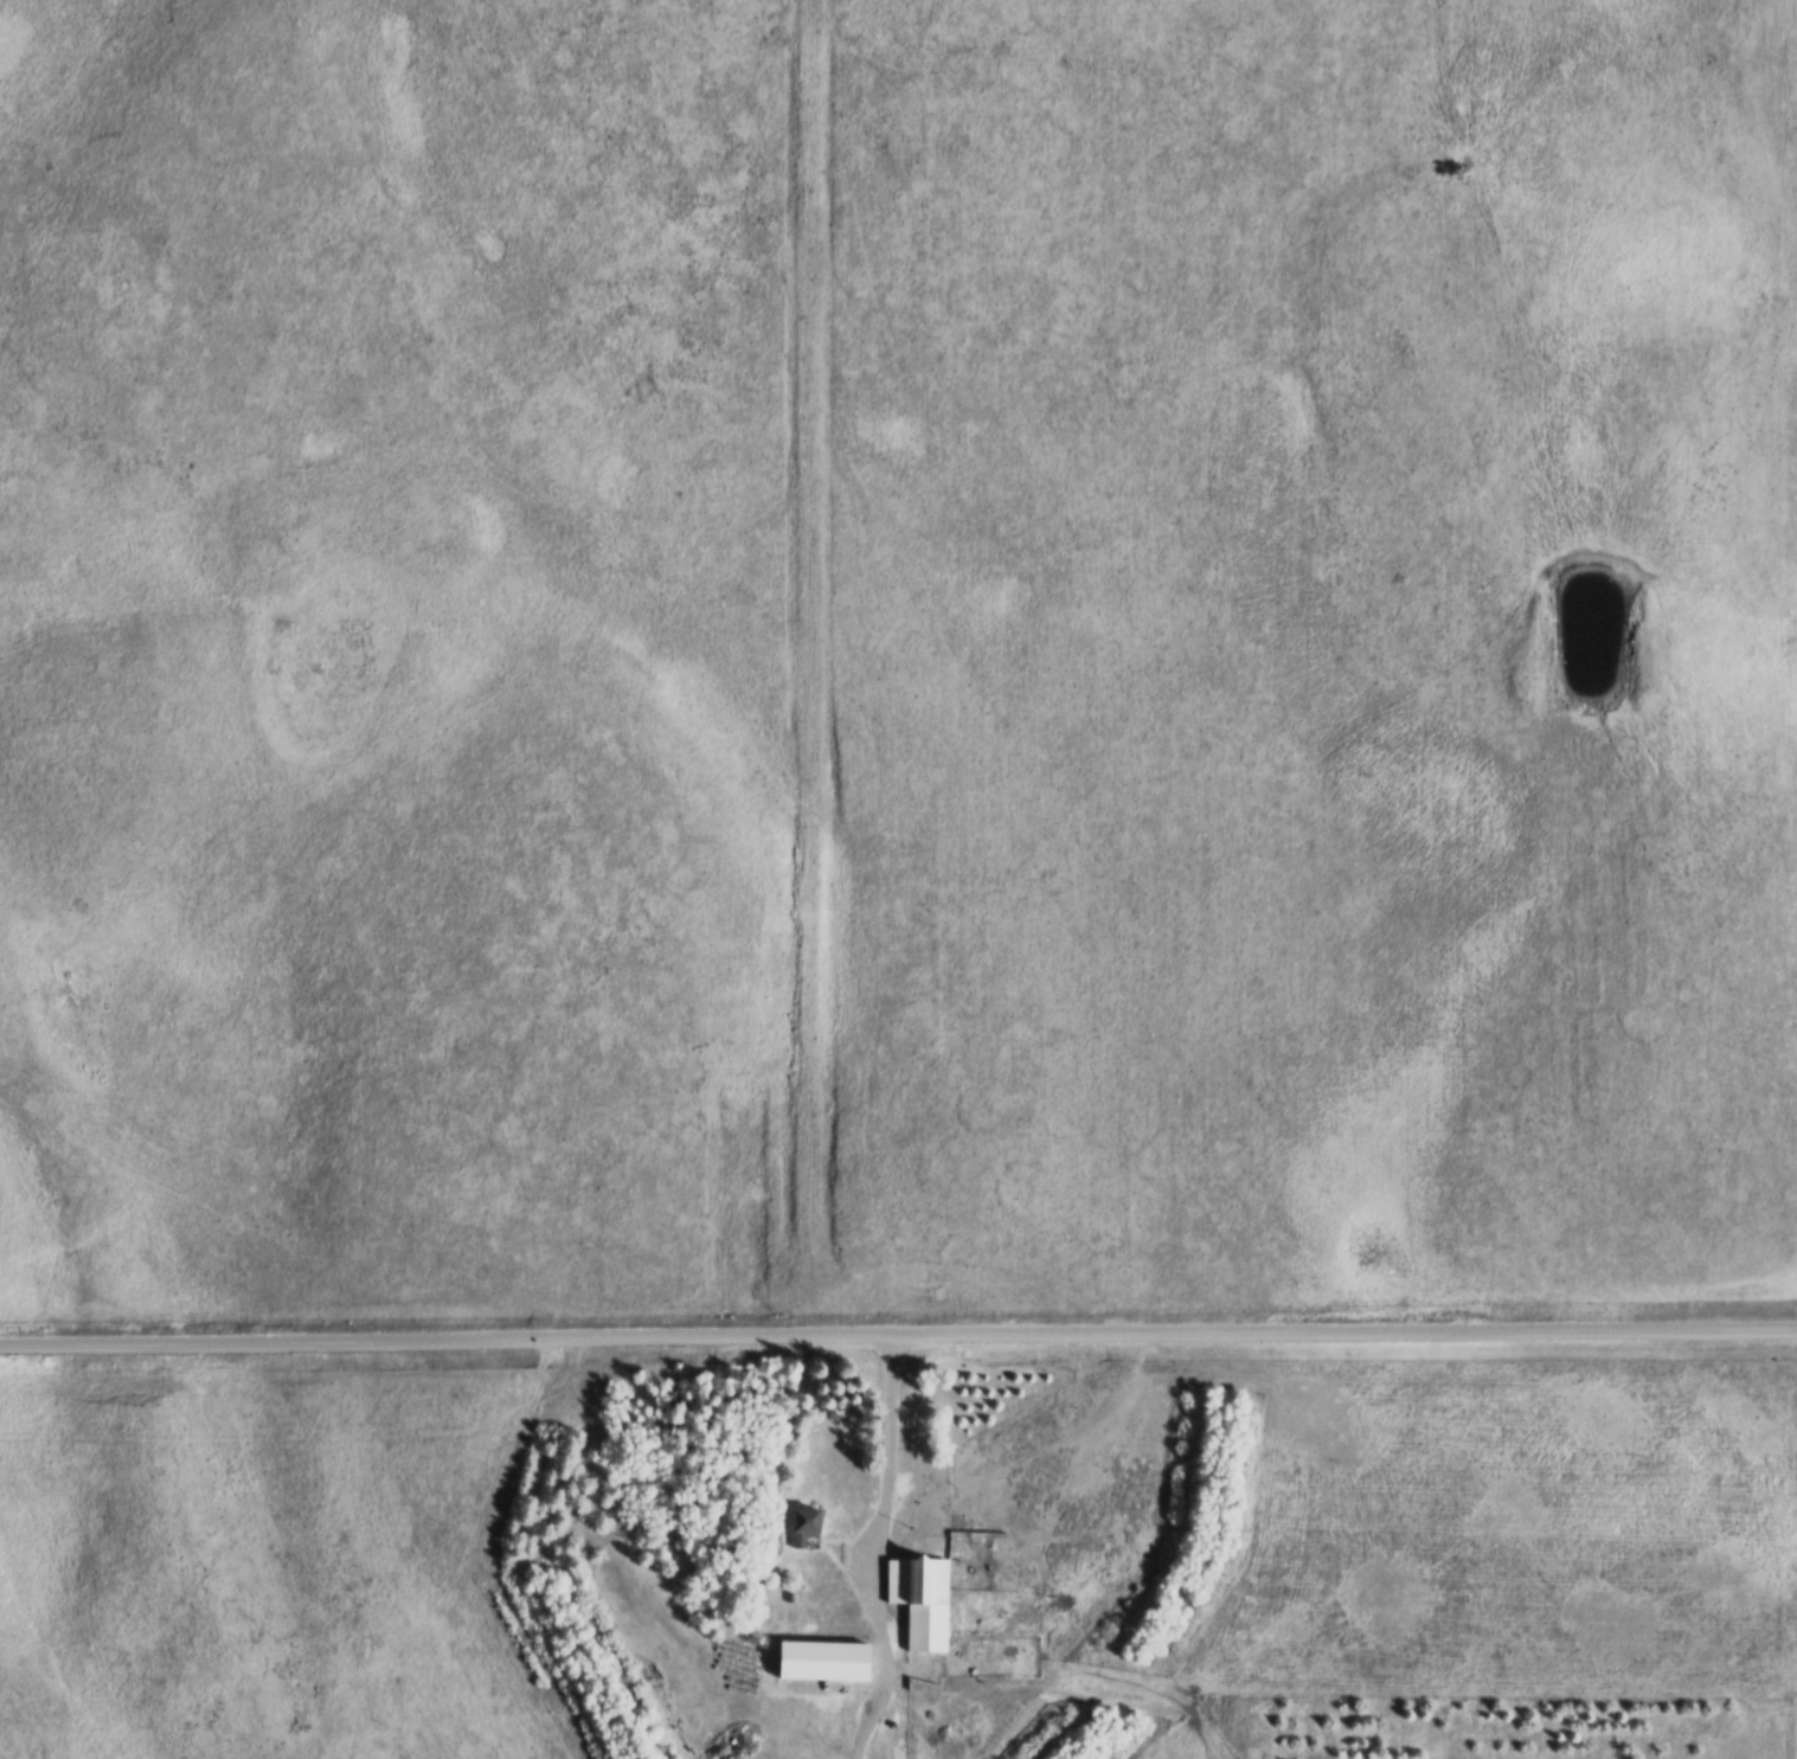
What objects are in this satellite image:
road: (898, 1341)
building: (801, 1521)
building: (917, 1600)

